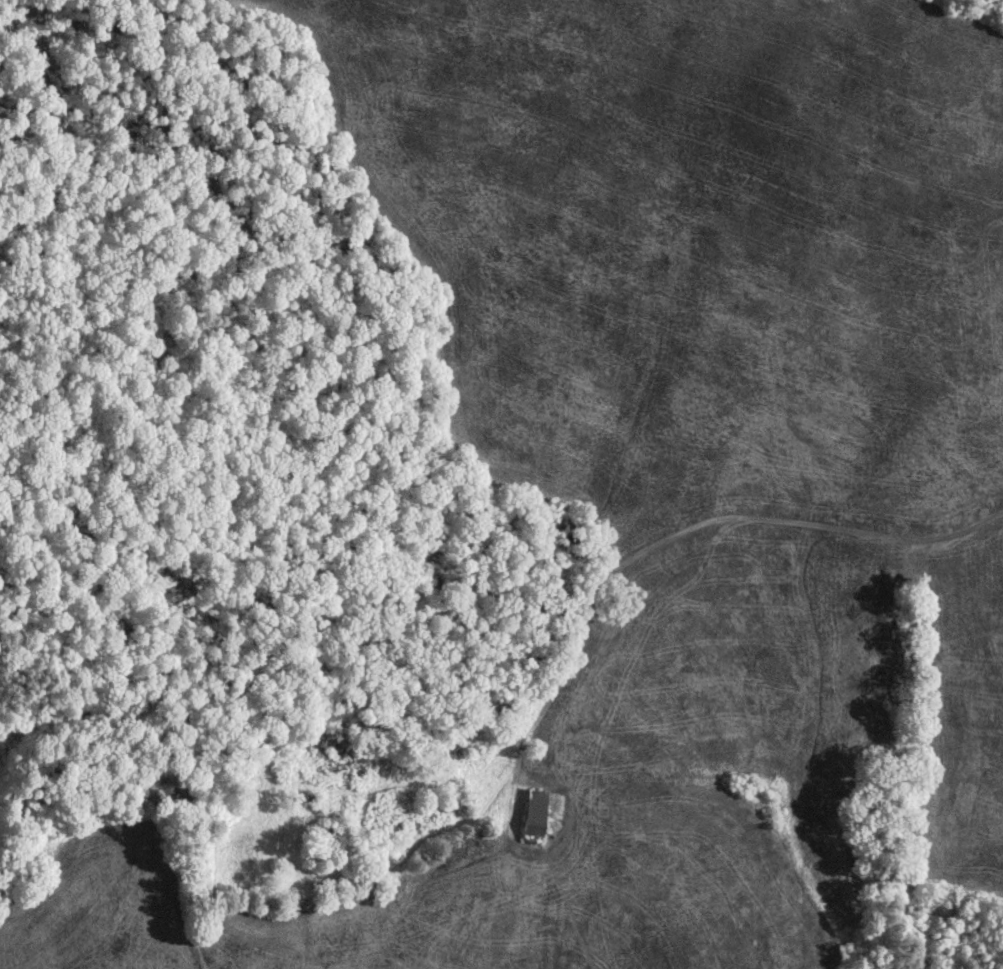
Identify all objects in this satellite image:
road: (695, 521)

